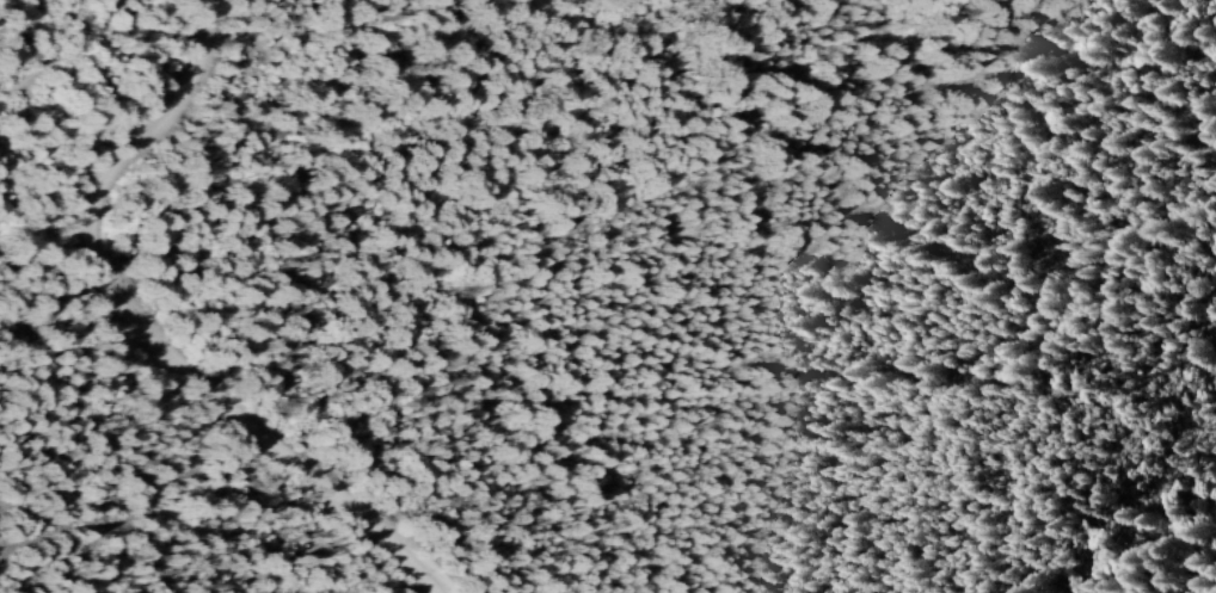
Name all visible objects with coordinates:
road: (146, 336)

